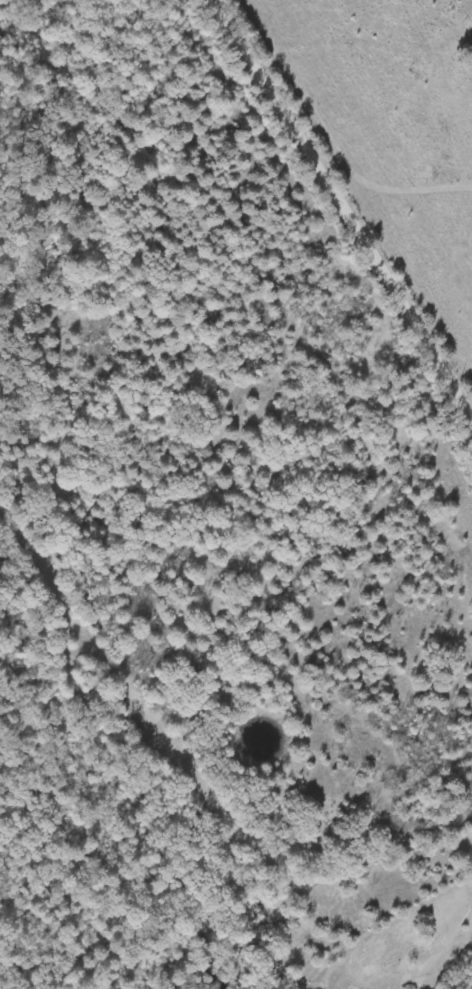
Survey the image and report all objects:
road: (347, 204)

